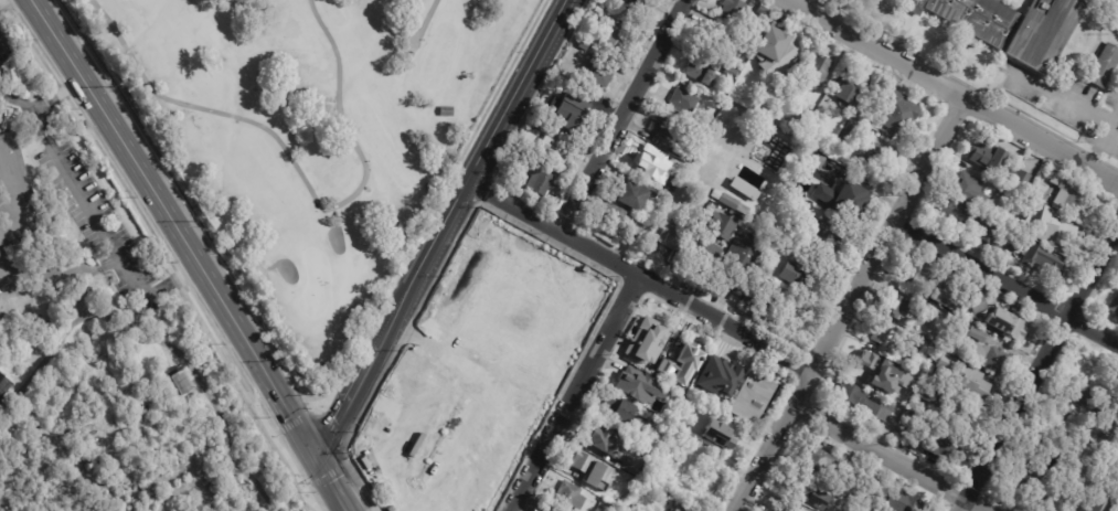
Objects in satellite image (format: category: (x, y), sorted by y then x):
building: (647, 0)
road: (7, 4)
building: (633, 6)
building: (732, 9)
building: (598, 10)
building: (1114, 19)
building: (1013, 26)
building: (614, 36)
road: (412, 40)
building: (718, 43)
road: (0, 44)
building: (771, 51)
building: (1101, 65)
building: (598, 68)
building: (700, 72)
building: (12, 73)
building: (816, 73)
building: (847, 86)
road: (954, 93)
road: (57, 95)
road: (1064, 100)
building: (810, 105)
building: (683, 106)
parking lot: (1069, 106)
building: (566, 109)
building: (444, 110)
building: (818, 113)
building: (895, 113)
road: (621, 115)
building: (8, 119)
building: (532, 125)
building: (666, 127)
building: (849, 132)
park: (312, 136)
building: (552, 149)
building: (763, 151)
building: (872, 153)
building: (689, 158)
building: (990, 158)
building: (811, 159)
building: (652, 160)
road: (300, 173)
building: (1019, 179)
building: (515, 181)
building: (537, 182)
building: (664, 185)
building: (741, 187)
building: (1036, 189)
building: (967, 193)
building: (17, 194)
building: (1007, 194)
building: (633, 195)
building: (1064, 195)
building: (841, 198)
building: (678, 199)
building: (730, 202)
building: (956, 213)
road: (95, 216)
building: (758, 219)
building: (651, 220)
building: (616, 221)
road: (172, 222)
road: (443, 225)
building: (721, 226)
building: (1054, 231)
building: (987, 233)
building: (672, 235)
building: (819, 236)
building: (1007, 243)
building: (707, 256)
building: (737, 262)
building: (1040, 262)
building: (913, 272)
road: (641, 275)
building: (802, 275)
park: (315, 277)
road: (1005, 281)
building: (757, 289)
building: (50, 298)
building: (0, 301)
road: (849, 304)
building: (975, 304)
building: (770, 305)
building: (894, 306)
building: (1114, 307)
building: (1008, 321)
building: (972, 333)
building: (883, 334)
building: (645, 341)
building: (987, 358)
building: (863, 363)
building: (909, 363)
building: (678, 364)
road: (1039, 369)
road: (258, 375)
building: (486, 375)
building: (720, 375)
building: (961, 377)
building: (629, 379)
building: (891, 380)
building: (180, 381)
building: (4, 385)
road: (576, 393)
building: (892, 394)
building: (924, 394)
building: (1083, 394)
building: (752, 395)
road: (258, 400)
building: (864, 402)
building: (618, 408)
road: (317, 409)
building: (1061, 411)
building: (956, 412)
road: (296, 422)
road: (332, 429)
building: (911, 432)
road: (277, 433)
building: (643, 433)
road: (1067, 434)
building: (718, 435)
building: (596, 437)
building: (1040, 440)
building: (675, 444)
traffic signals: (312, 447)
building: (939, 447)
building: (635, 448)
road: (281, 449)
road: (892, 457)
road: (351, 458)
building: (817, 460)
building: (625, 464)
building: (1022, 470)
building: (594, 472)
road: (329, 476)
road: (330, 478)
building: (844, 479)
road: (309, 487)
building: (1071, 488)
building: (806, 491)
building: (568, 498)
building: (902, 501)
road: (536, 502)
building: (618, 503)
building: (1090, 503)
building: (781, 504)
building: (637, 509)
building: (680, 509)
building: (1114, 509)
building: (866, 510)

